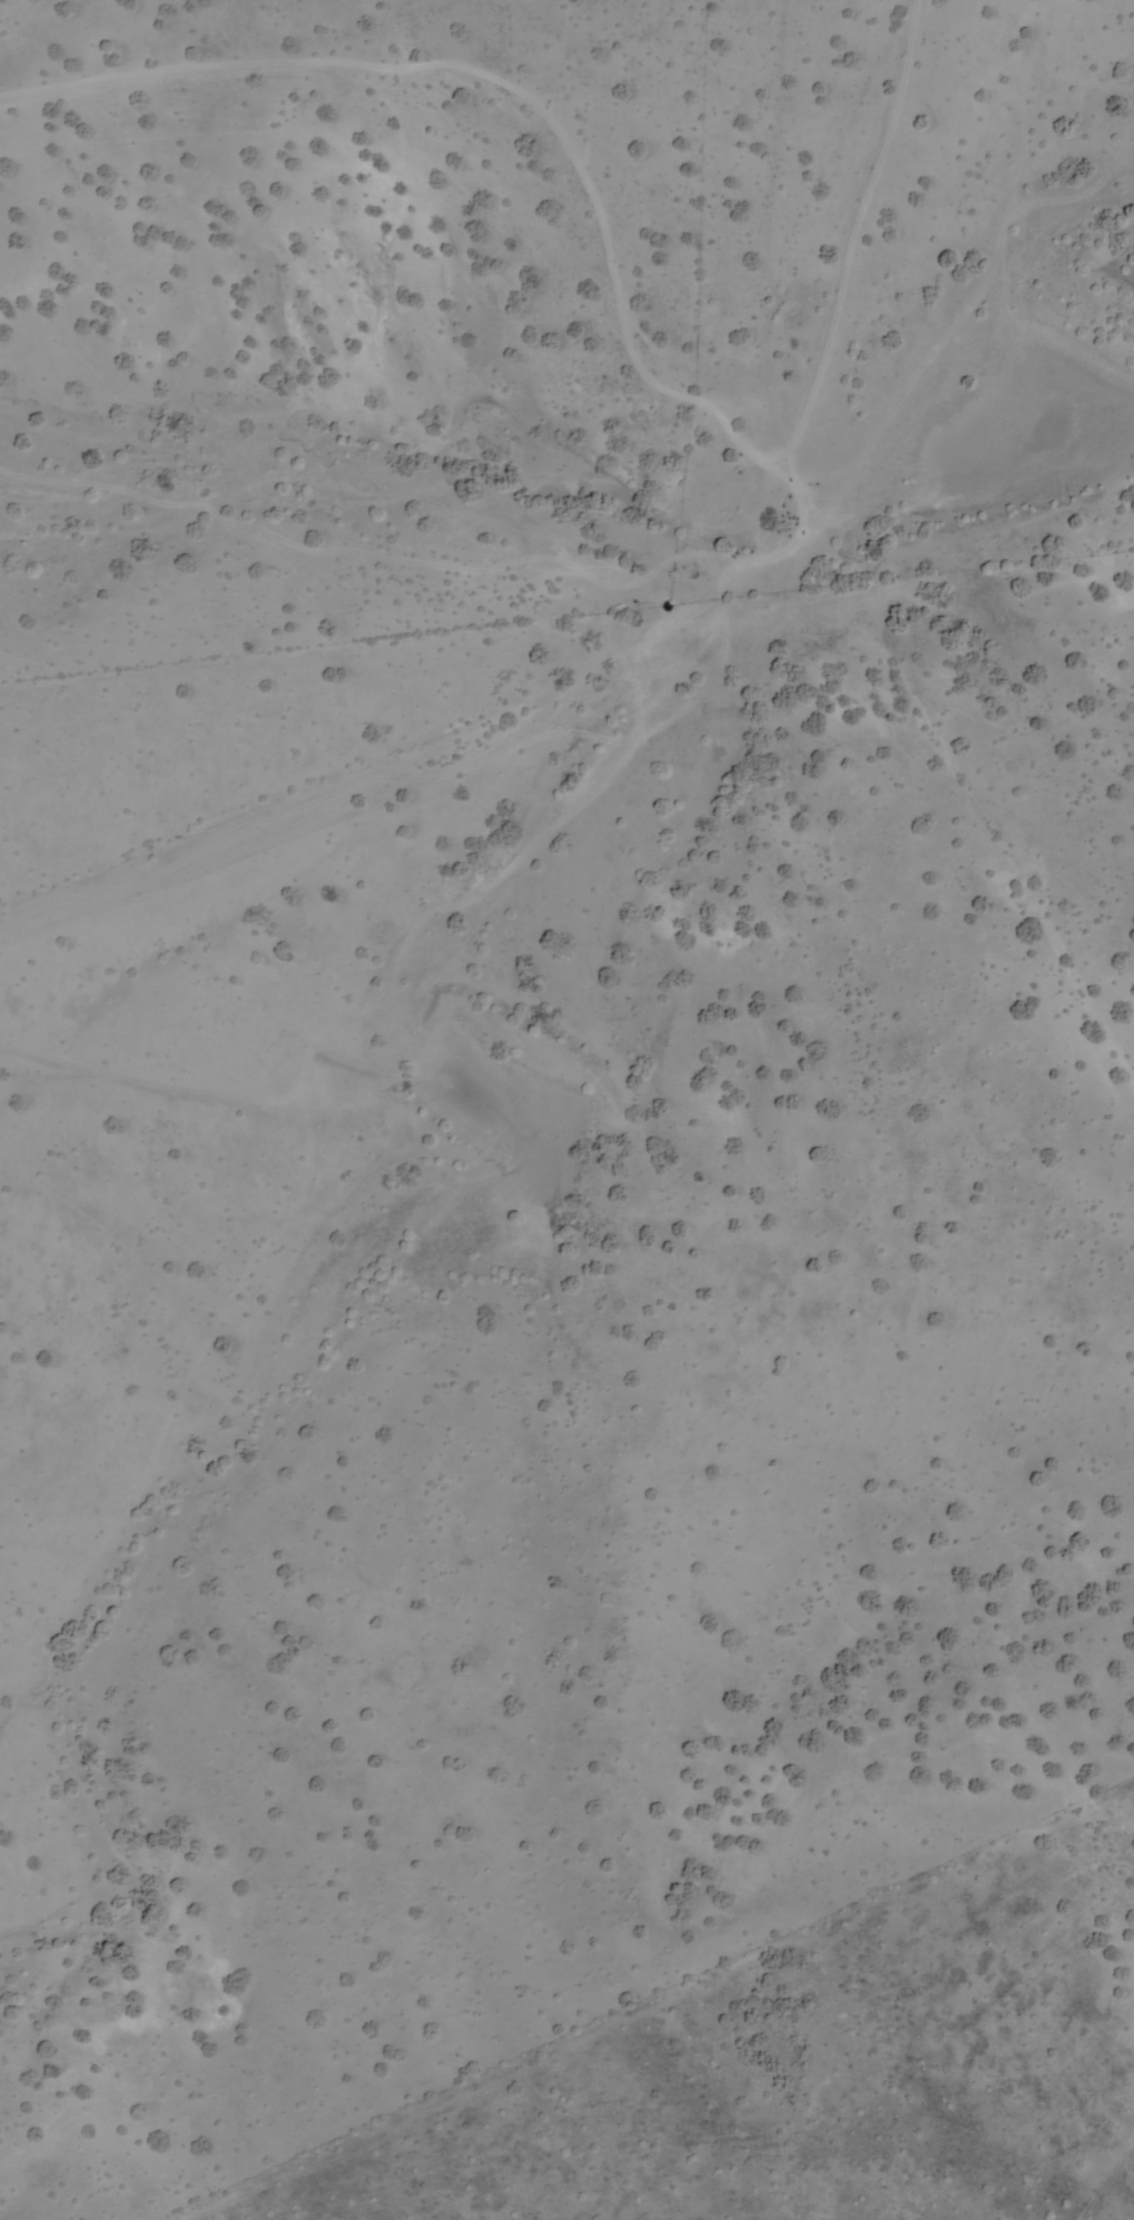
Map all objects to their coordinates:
road: (640, 628)
road: (637, 2002)

